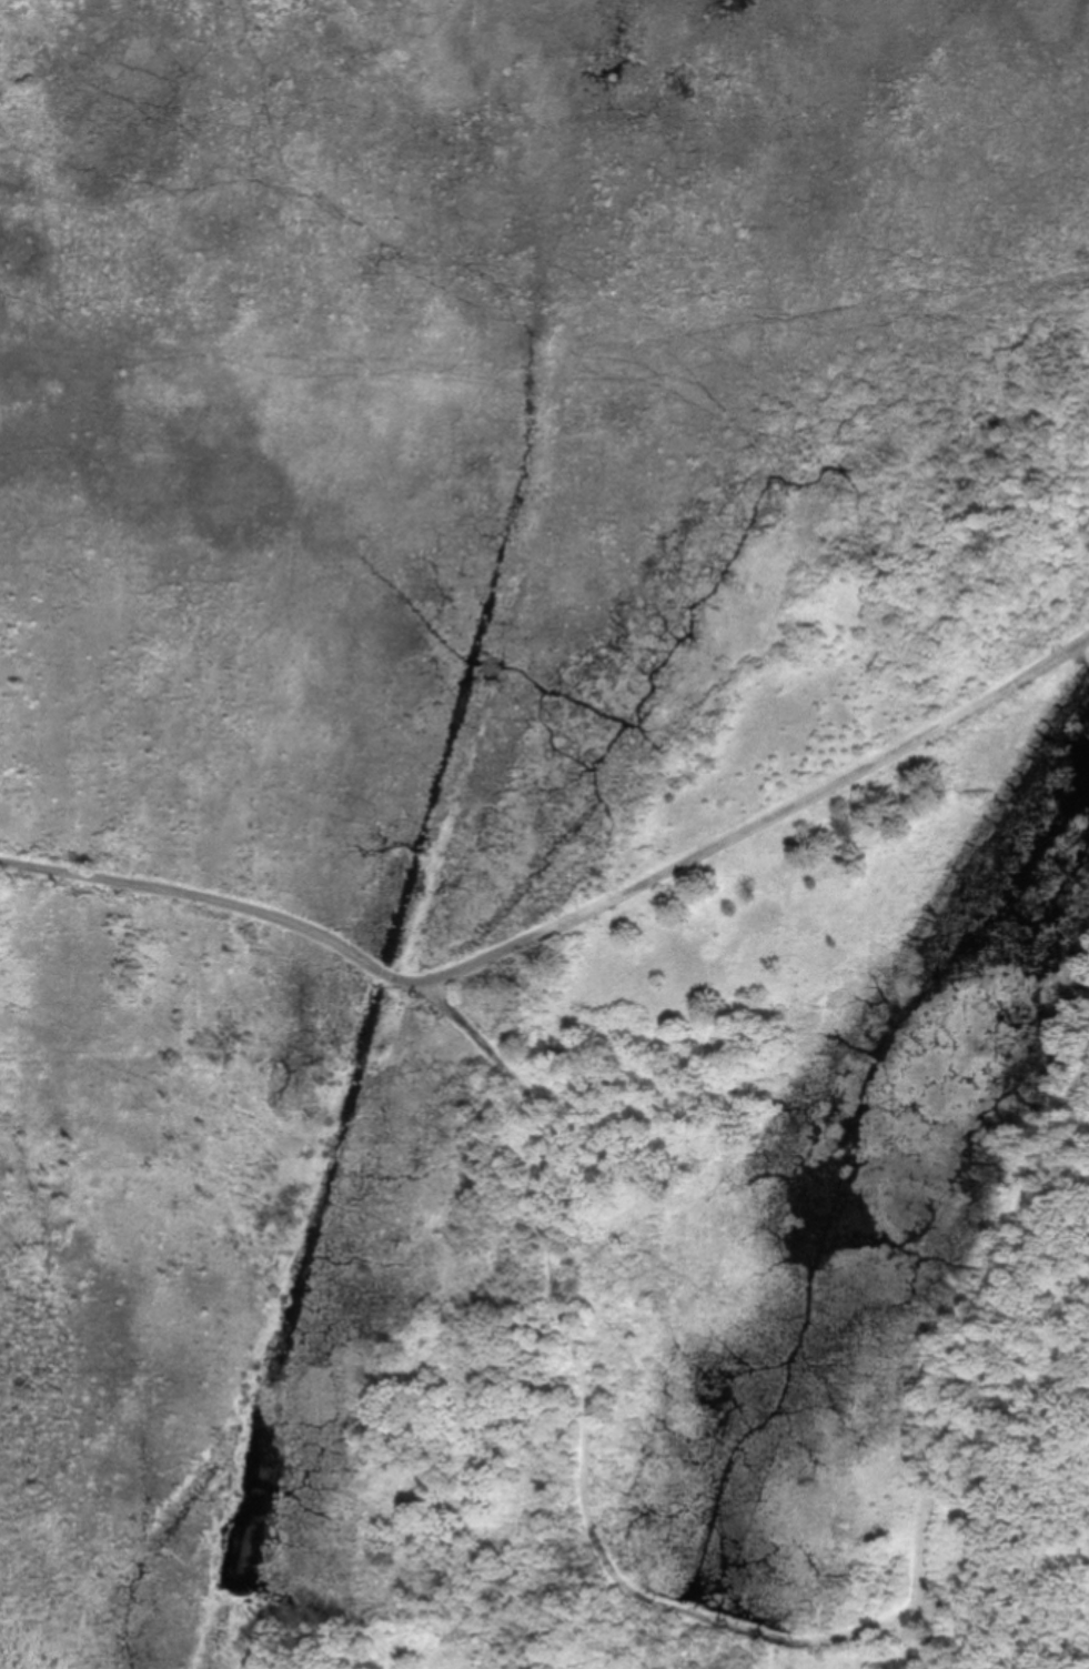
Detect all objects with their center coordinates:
park: (556, 822)
road: (565, 918)
road: (964, 1355)
road: (579, 1395)

